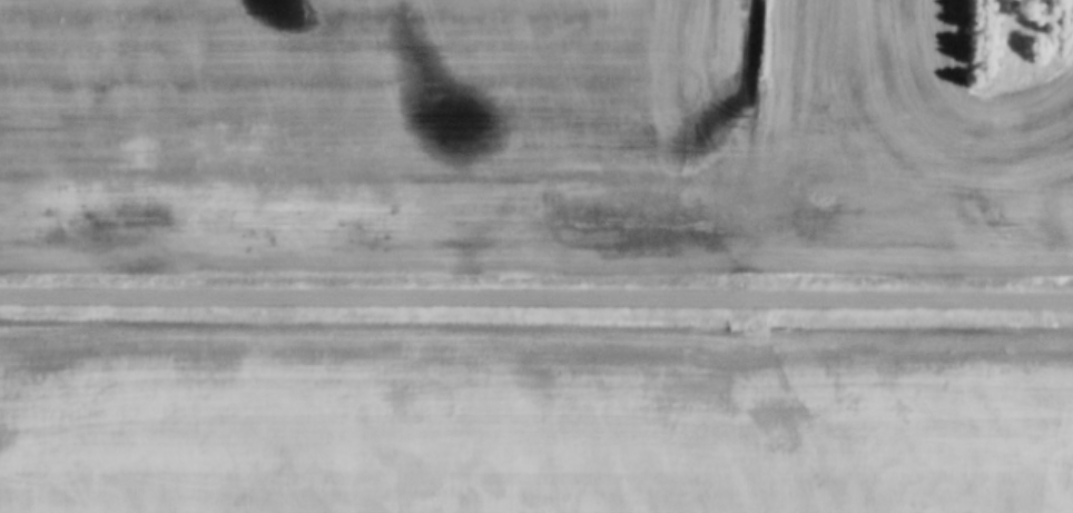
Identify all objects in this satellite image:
road: (535, 299)

